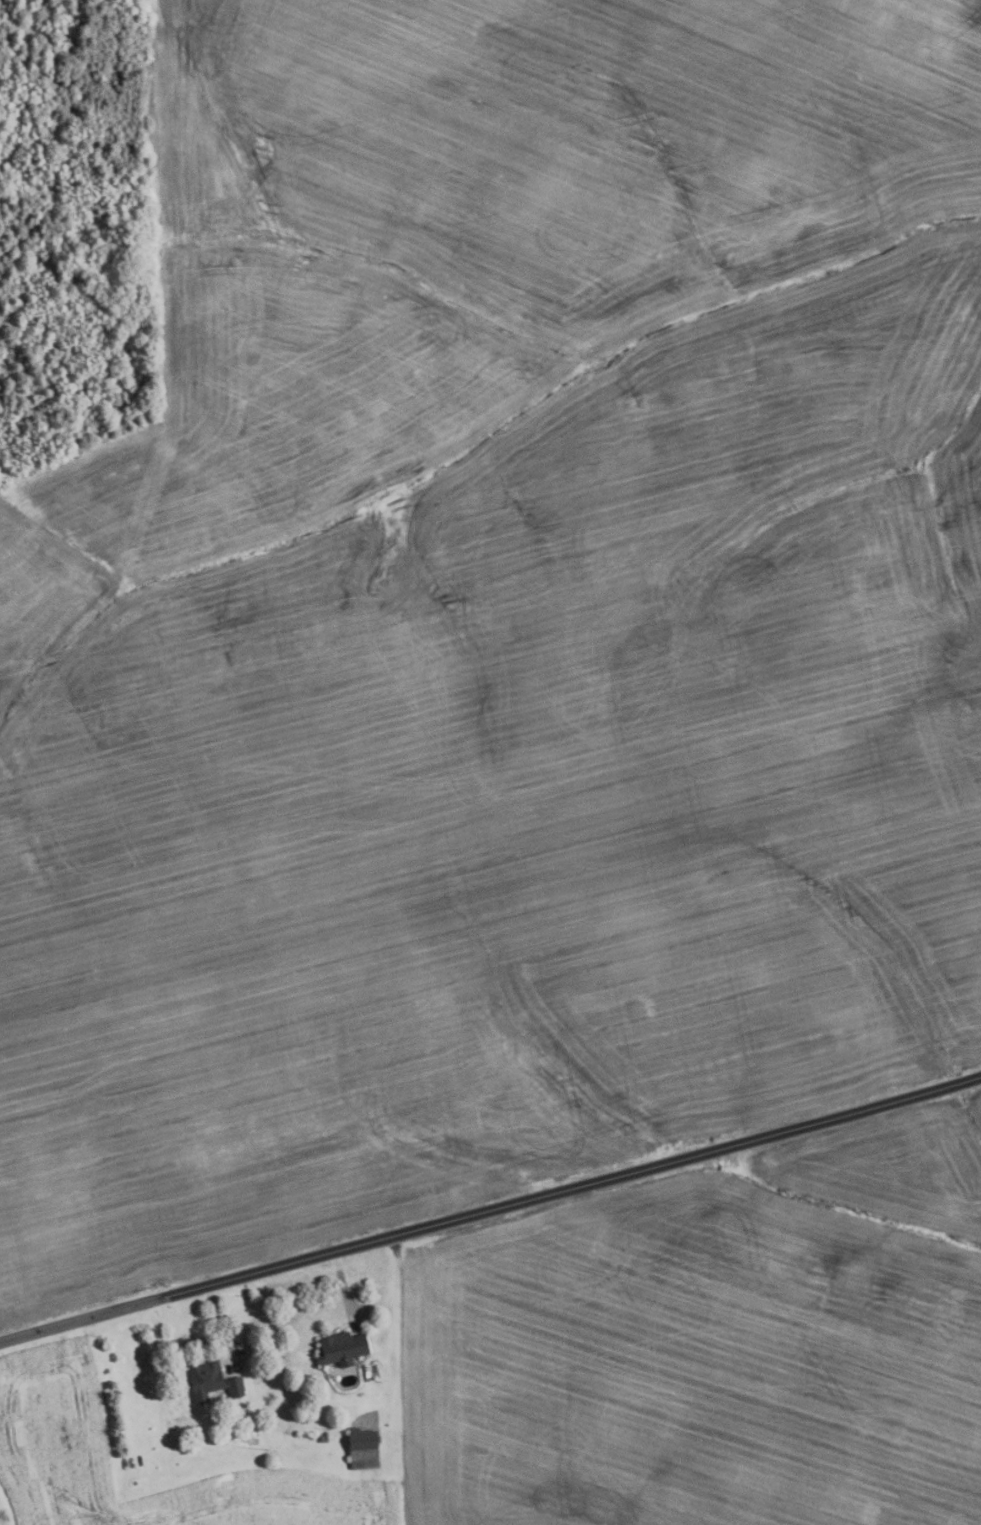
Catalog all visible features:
crop: (497, 625)
road: (572, 1187)
road: (345, 1290)
road: (82, 1320)
road: (394, 1324)
road: (220, 1327)
building: (341, 1348)
building: (212, 1385)
building: (362, 1449)

